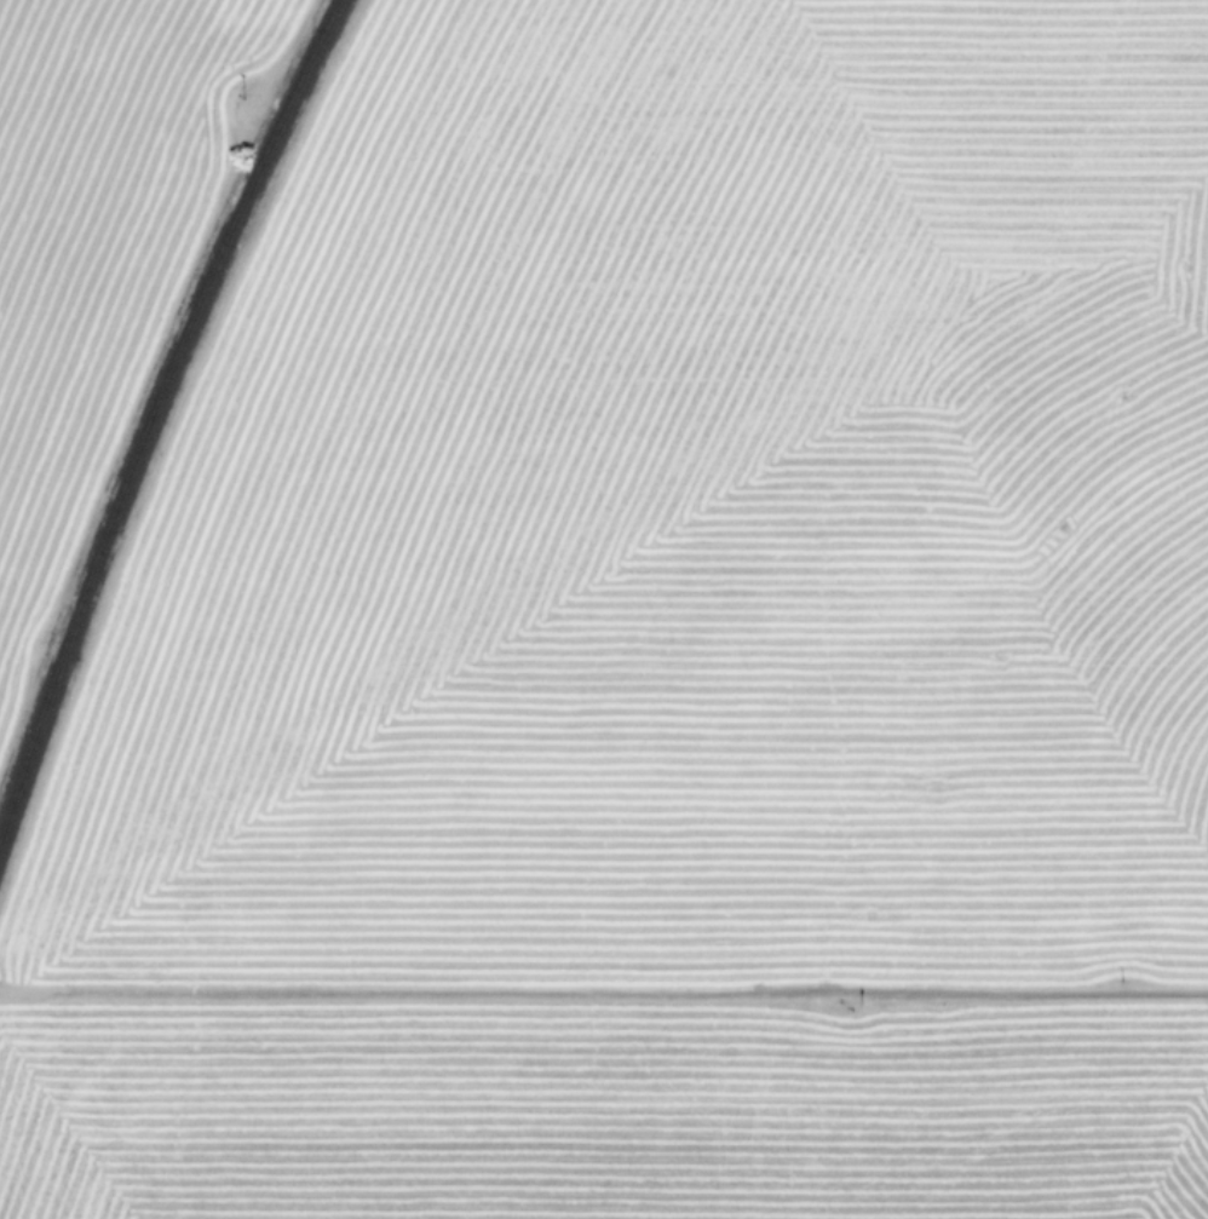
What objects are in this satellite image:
railway: (146, 407)
crop: (604, 609)

